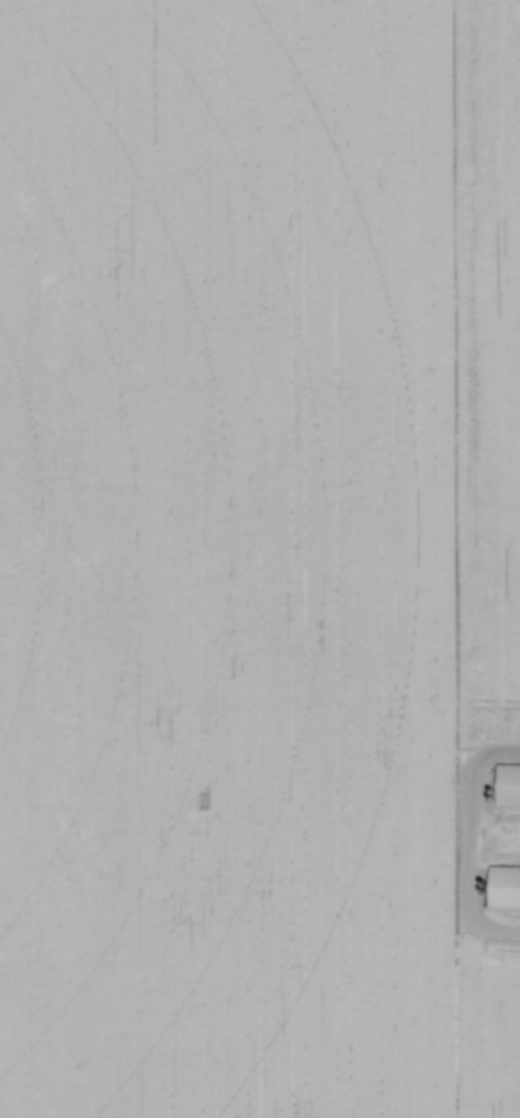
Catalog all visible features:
building: (506, 785)

